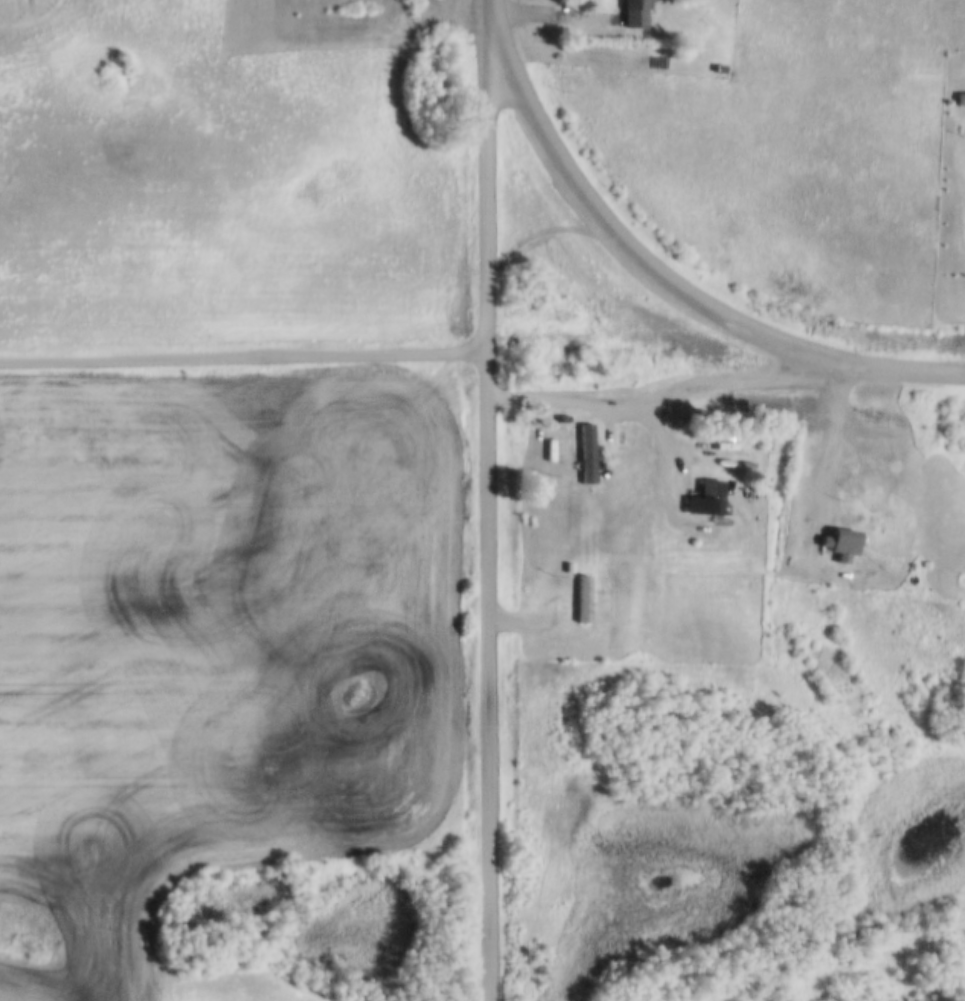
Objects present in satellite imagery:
road: (490, 11)
road: (553, 12)
building: (634, 12)
building: (719, 66)
building: (961, 95)
road: (672, 277)
road: (244, 355)
road: (670, 391)
building: (563, 416)
road: (833, 446)
building: (586, 451)
building: (705, 495)
road: (488, 512)
building: (840, 540)
building: (584, 596)

